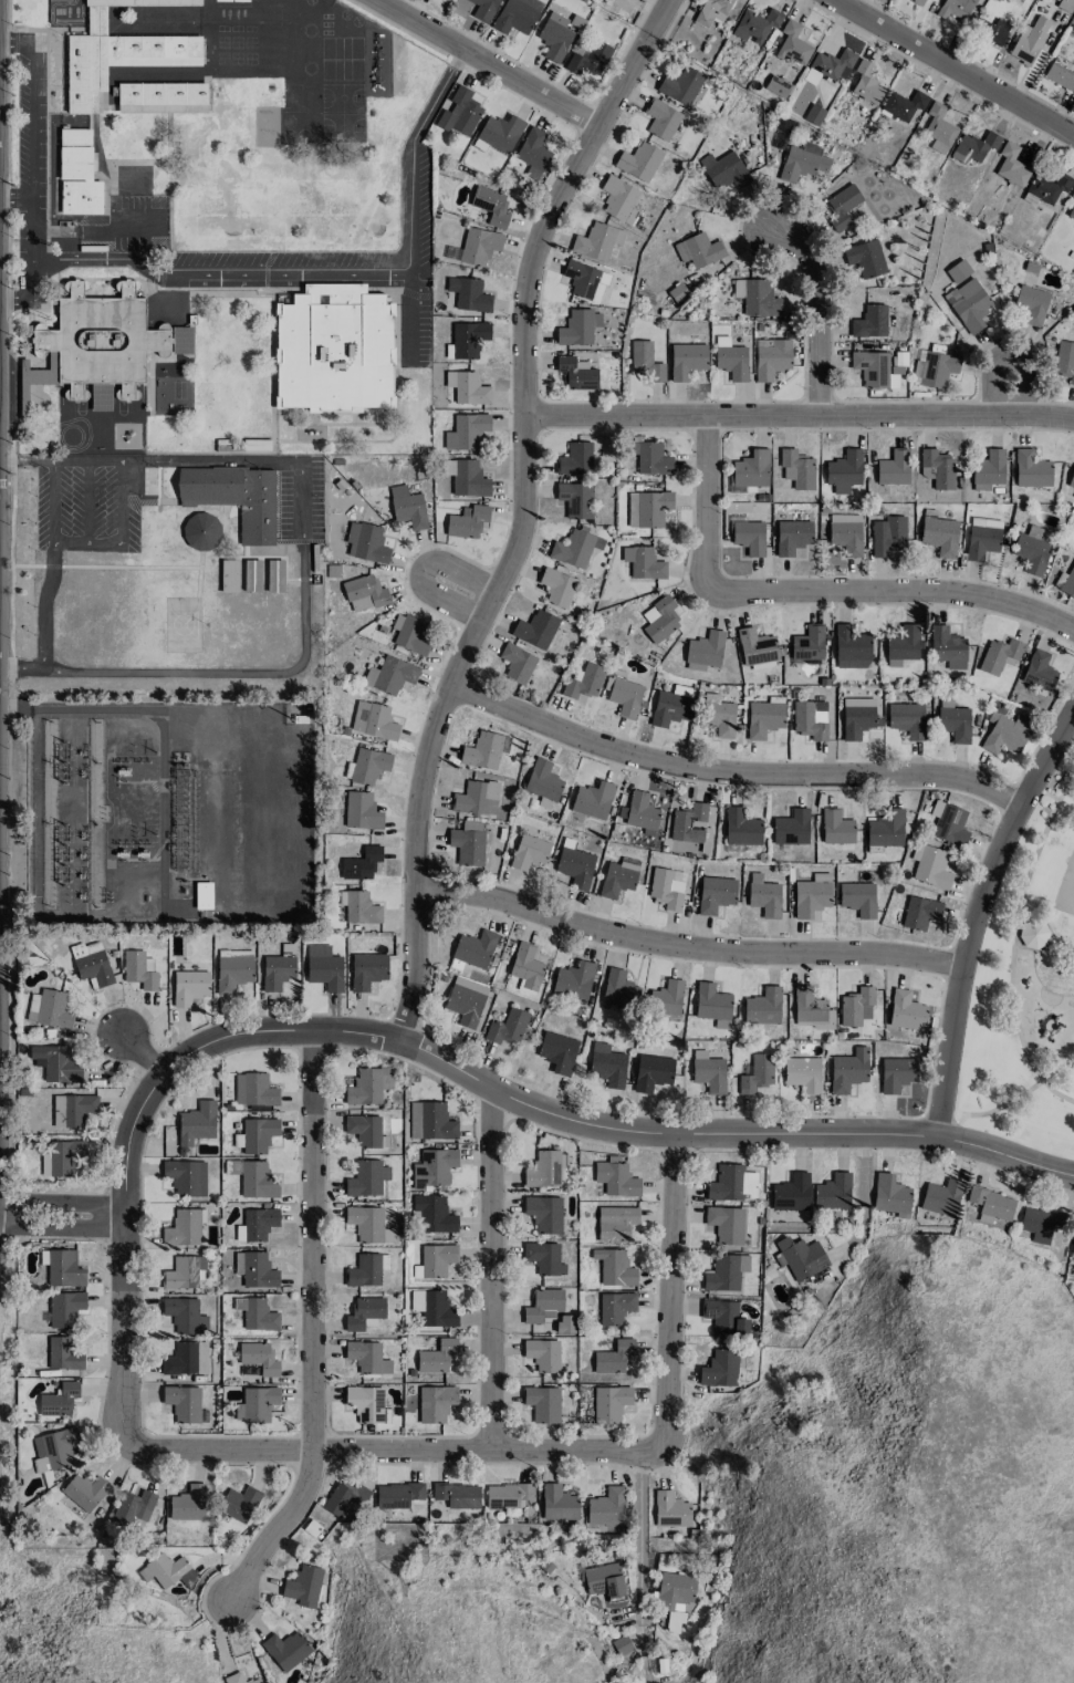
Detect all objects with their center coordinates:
building: (231, 0)
building: (919, 1)
building: (955, 8)
building: (483, 9)
building: (711, 11)
building: (517, 15)
building: (755, 24)
building: (992, 31)
building: (554, 37)
building: (1029, 40)
road: (17, 41)
building: (793, 44)
building: (119, 52)
building: (590, 59)
road: (489, 62)
building: (833, 64)
road: (948, 71)
building: (1060, 75)
building: (864, 82)
building: (680, 85)
building: (776, 86)
building: (161, 97)
building: (903, 105)
building: (814, 114)
building: (661, 120)
building: (939, 128)
building: (500, 133)
building: (973, 146)
building: (533, 153)
building: (639, 162)
building: (802, 162)
building: (1011, 165)
building: (724, 169)
road: (31, 170)
building: (77, 174)
building: (1047, 187)
road: (410, 194)
building: (1072, 194)
road: (15, 197)
building: (619, 199)
building: (491, 205)
building: (842, 206)
building: (1071, 211)
building: (597, 241)
building: (479, 246)
building: (699, 250)
building: (452, 253)
building: (865, 258)
road: (219, 271)
building: (958, 271)
building: (678, 292)
building: (469, 294)
building: (757, 298)
road: (15, 301)
building: (969, 304)
building: (1031, 305)
building: (869, 322)
road: (821, 323)
building: (578, 328)
building: (468, 339)
building: (105, 343)
building: (334, 349)
building: (730, 359)
building: (771, 359)
building: (687, 360)
building: (1064, 360)
building: (646, 362)
building: (934, 368)
building: (576, 373)
road: (1021, 386)
building: (467, 387)
road: (800, 414)
building: (467, 432)
building: (651, 458)
building: (575, 459)
road: (152, 461)
building: (796, 468)
building: (894, 468)
building: (937, 468)
building: (1031, 469)
building: (750, 470)
building: (844, 471)
building: (466, 478)
building: (1071, 479)
building: (234, 497)
building: (575, 499)
road: (304, 501)
building: (407, 507)
building: (647, 508)
road: (525, 511)
building: (467, 521)
building: (201, 531)
road: (121, 533)
building: (845, 533)
building: (939, 534)
building: (792, 536)
building: (887, 536)
building: (749, 537)
building: (982, 538)
building: (366, 542)
building: (575, 548)
building: (1031, 550)
building: (643, 562)
road: (50, 568)
building: (229, 575)
building: (251, 575)
building: (274, 575)
building: (1065, 582)
building: (556, 586)
road: (460, 590)
building: (364, 593)
road: (806, 593)
building: (659, 619)
building: (535, 628)
building: (809, 643)
building: (903, 645)
building: (852, 647)
building: (948, 647)
building: (757, 648)
building: (705, 651)
building: (999, 655)
building: (517, 663)
building: (1039, 671)
road: (212, 672)
building: (390, 675)
building: (583, 682)
building: (623, 694)
building: (670, 706)
building: (719, 715)
building: (858, 717)
building: (763, 718)
building: (811, 719)
building: (906, 719)
building: (373, 720)
building: (955, 724)
building: (1005, 733)
building: (482, 750)
building: (368, 766)
road: (733, 773)
building: (543, 780)
building: (477, 798)
building: (593, 800)
building: (362, 811)
building: (639, 811)
power substation: (170, 812)
building: (689, 823)
building: (948, 823)
building: (471, 825)
building: (836, 827)
building: (741, 828)
building: (791, 828)
building: (886, 829)
building: (467, 846)
building: (529, 852)
building: (362, 863)
building: (575, 866)
building: (931, 868)
building: (618, 877)
building: (667, 887)
building: (716, 893)
building: (202, 895)
building: (812, 895)
building: (764, 896)
building: (857, 898)
building: (359, 907)
building: (920, 912)
road: (988, 918)
building: (1032, 935)
road: (1020, 945)
building: (86, 948)
building: (475, 948)
road: (696, 948)
building: (324, 967)
building: (526, 967)
building: (93, 968)
building: (279, 968)
building: (138, 970)
building: (367, 970)
building: (233, 973)
building: (574, 980)
building: (189, 986)
park: (1030, 987)
building: (619, 989)
building: (666, 998)
building: (465, 1005)
building: (712, 1005)
building: (763, 1007)
building: (856, 1007)
building: (811, 1008)
building: (49, 1009)
building: (906, 1011)
building: (507, 1026)
road: (142, 1052)
building: (557, 1052)
building: (58, 1062)
building: (607, 1064)
building: (848, 1070)
building: (708, 1071)
building: (651, 1072)
building: (757, 1073)
building: (803, 1073)
building: (897, 1073)
building: (367, 1087)
building: (254, 1090)
road: (1007, 1104)
road: (541, 1105)
building: (72, 1109)
building: (430, 1121)
building: (196, 1124)
building: (364, 1130)
building: (258, 1134)
building: (63, 1155)
building: (434, 1167)
building: (545, 1168)
building: (616, 1176)
building: (186, 1177)
building: (252, 1177)
building: (366, 1178)
building: (732, 1183)
building: (833, 1192)
building: (791, 1193)
building: (890, 1194)
road: (864, 1197)
building: (942, 1197)
road: (63, 1203)
building: (991, 1204)
building: (434, 1214)
building: (544, 1214)
building: (366, 1223)
building: (616, 1223)
building: (1040, 1223)
building: (256, 1224)
building: (726, 1224)
road: (64, 1228)
building: (183, 1228)
building: (388, 1235)
building: (1073, 1251)
building: (543, 1257)
building: (800, 1257)
building: (435, 1260)
building: (62, 1267)
building: (614, 1267)
building: (254, 1269)
building: (364, 1270)
road: (498, 1271)
building: (185, 1272)
building: (722, 1274)
road: (679, 1296)
building: (542, 1305)
building: (615, 1307)
building: (64, 1308)
building: (432, 1308)
building: (364, 1311)
building: (257, 1313)
building: (185, 1316)
building: (723, 1317)
road: (132, 1321)
building: (565, 1323)
road: (320, 1330)
building: (63, 1353)
building: (542, 1354)
building: (437, 1357)
building: (259, 1358)
building: (367, 1358)
building: (615, 1358)
building: (186, 1359)
building: (720, 1369)
building: (59, 1400)
building: (365, 1403)
building: (436, 1403)
building: (543, 1403)
building: (611, 1403)
building: (185, 1404)
building: (256, 1404)
building: (54, 1448)
road: (406, 1451)
building: (84, 1490)
building: (458, 1494)
building: (397, 1495)
building: (509, 1495)
building: (345, 1498)
building: (239, 1503)
building: (559, 1503)
building: (188, 1504)
building: (133, 1507)
building: (606, 1507)
building: (671, 1509)
road: (640, 1535)
building: (170, 1570)
building: (605, 1580)
building: (303, 1586)
building: (674, 1598)
building: (622, 1644)
building: (285, 1650)
building: (239, 1679)

